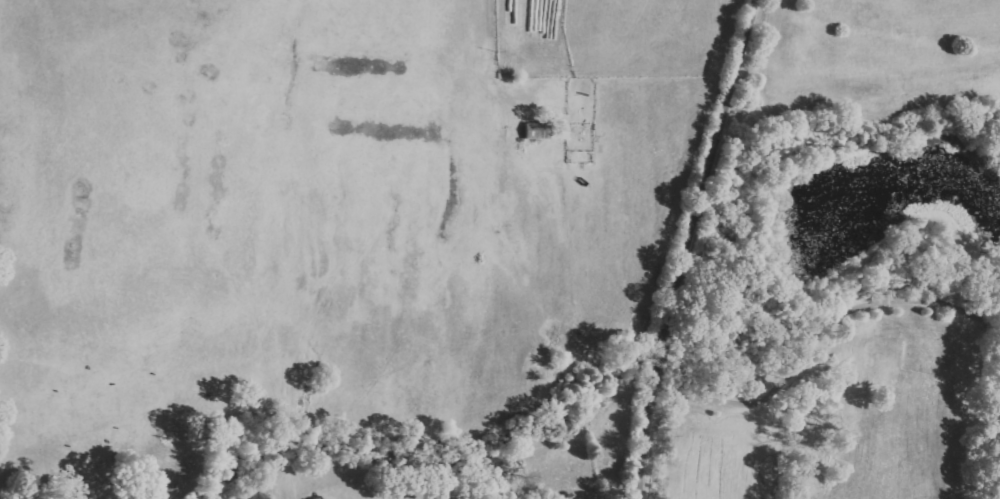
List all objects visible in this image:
building: (543, 131)
road: (853, 193)
road: (692, 247)
road: (822, 318)

